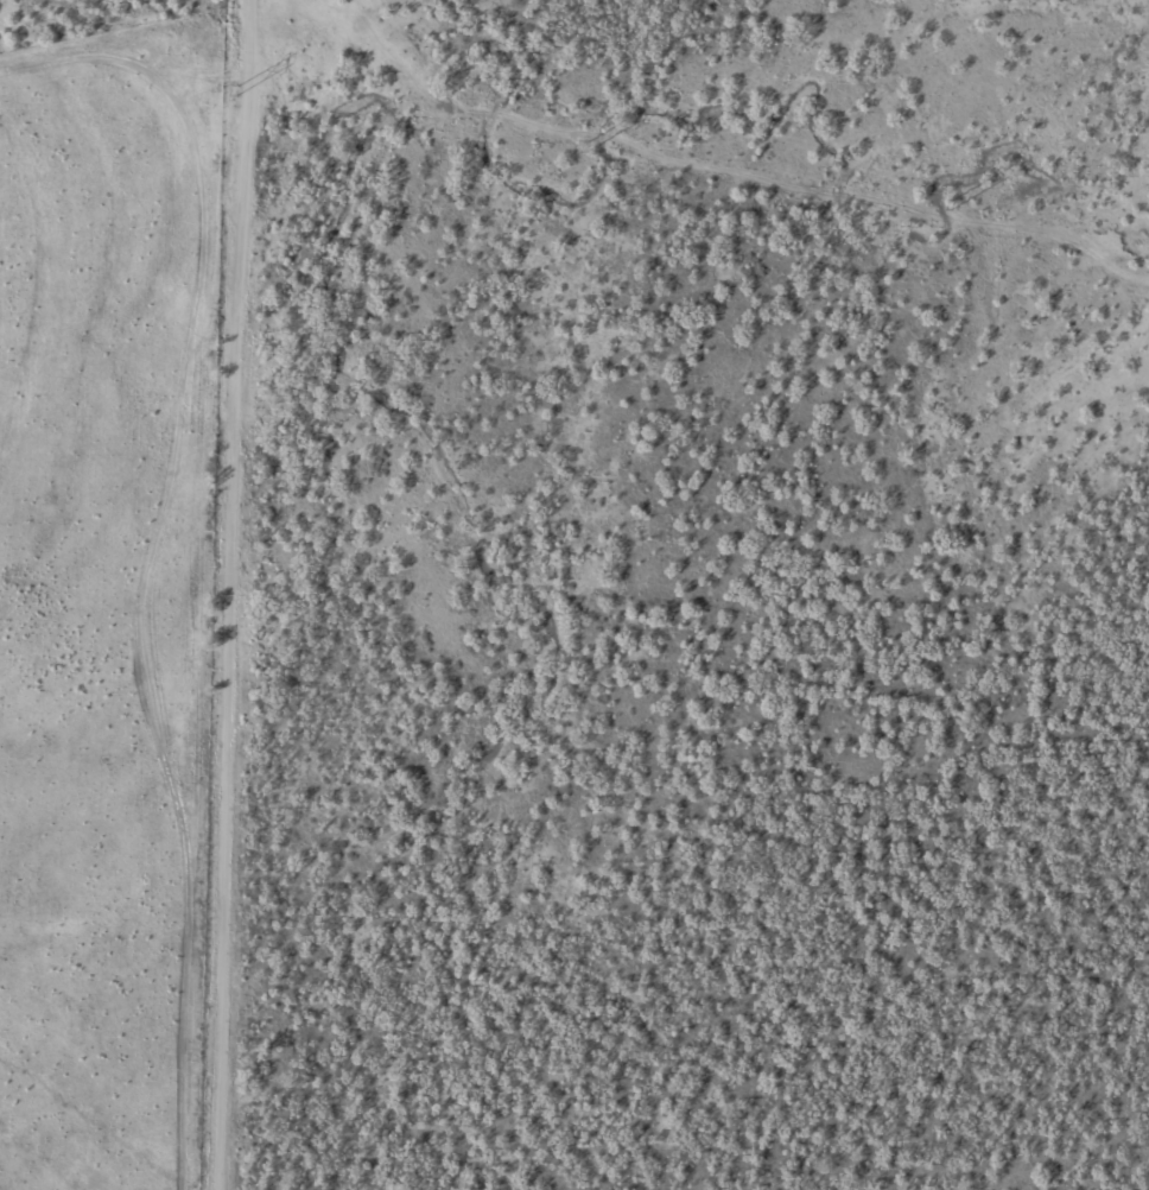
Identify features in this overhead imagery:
power tower: (237, 89)
power tower: (586, 144)
power tower: (951, 202)
road: (224, 595)

